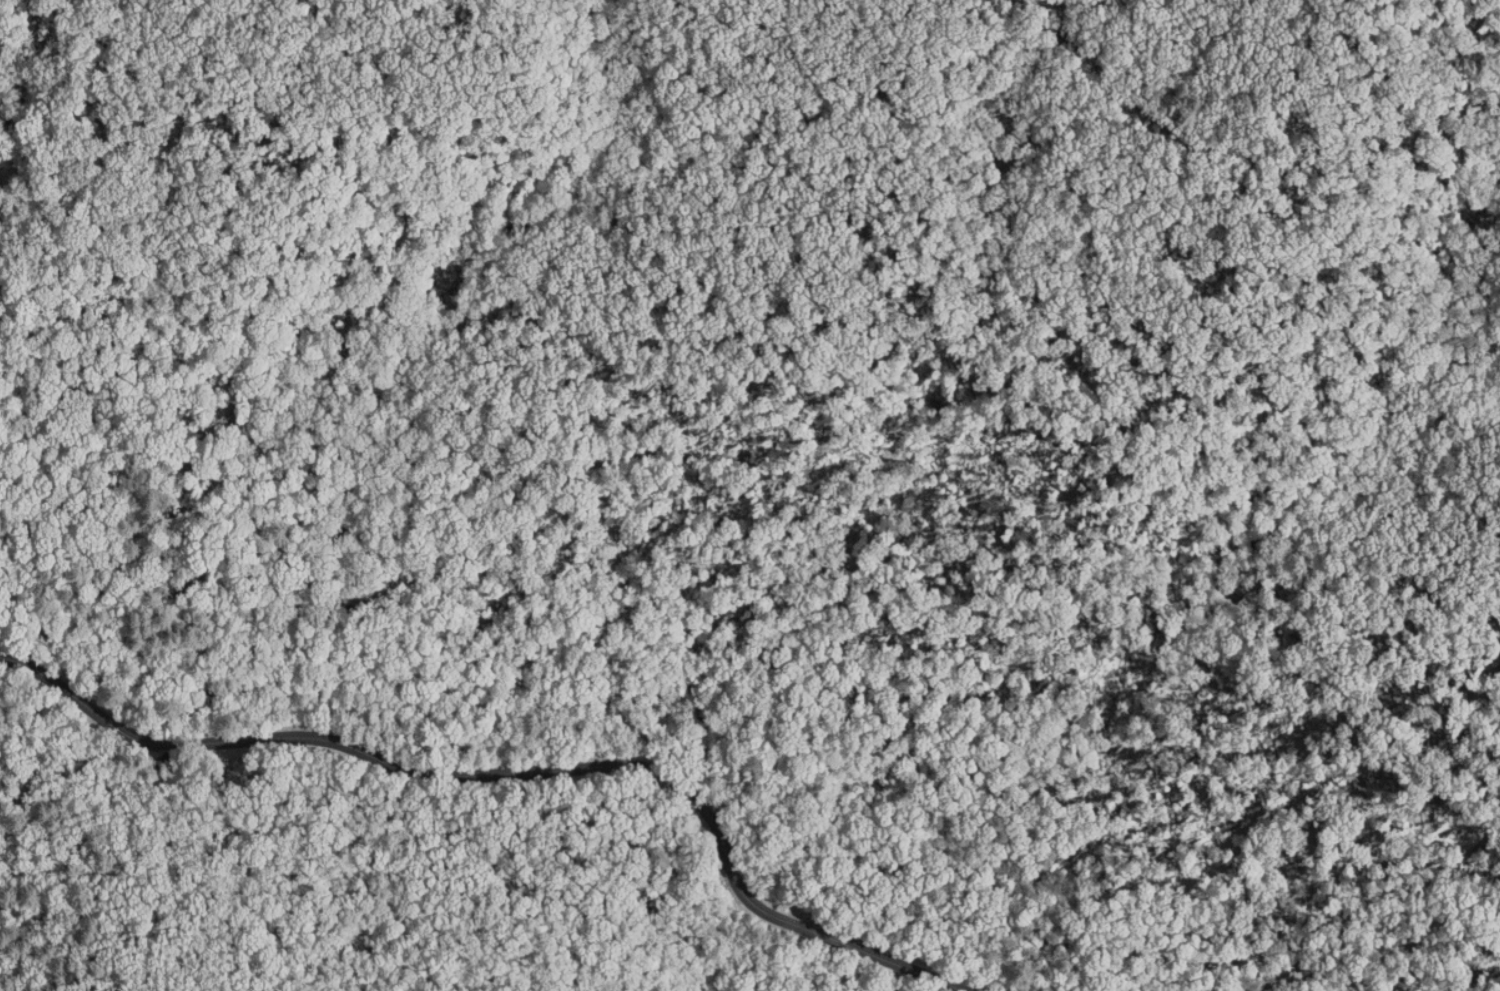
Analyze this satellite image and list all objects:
road: (83, 701)
road: (177, 743)
road: (436, 773)
road: (693, 793)
road: (809, 926)

